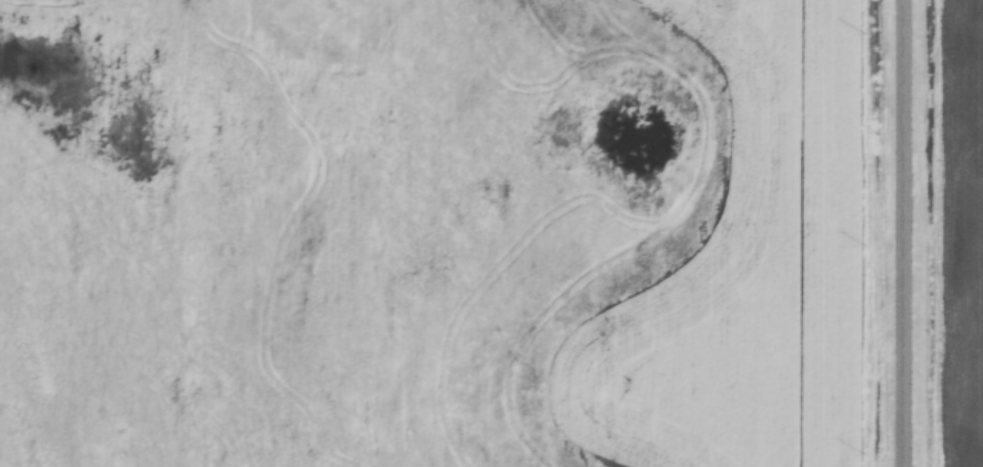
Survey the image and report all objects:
road: (907, 233)

